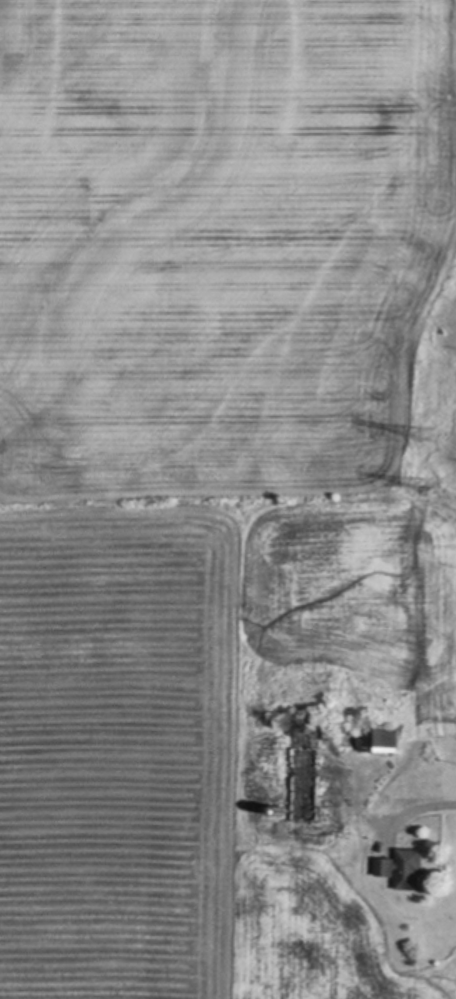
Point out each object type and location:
power tower: (427, 434)
power tower: (427, 485)
building: (308, 783)
road: (414, 807)
building: (284, 810)
building: (406, 869)

